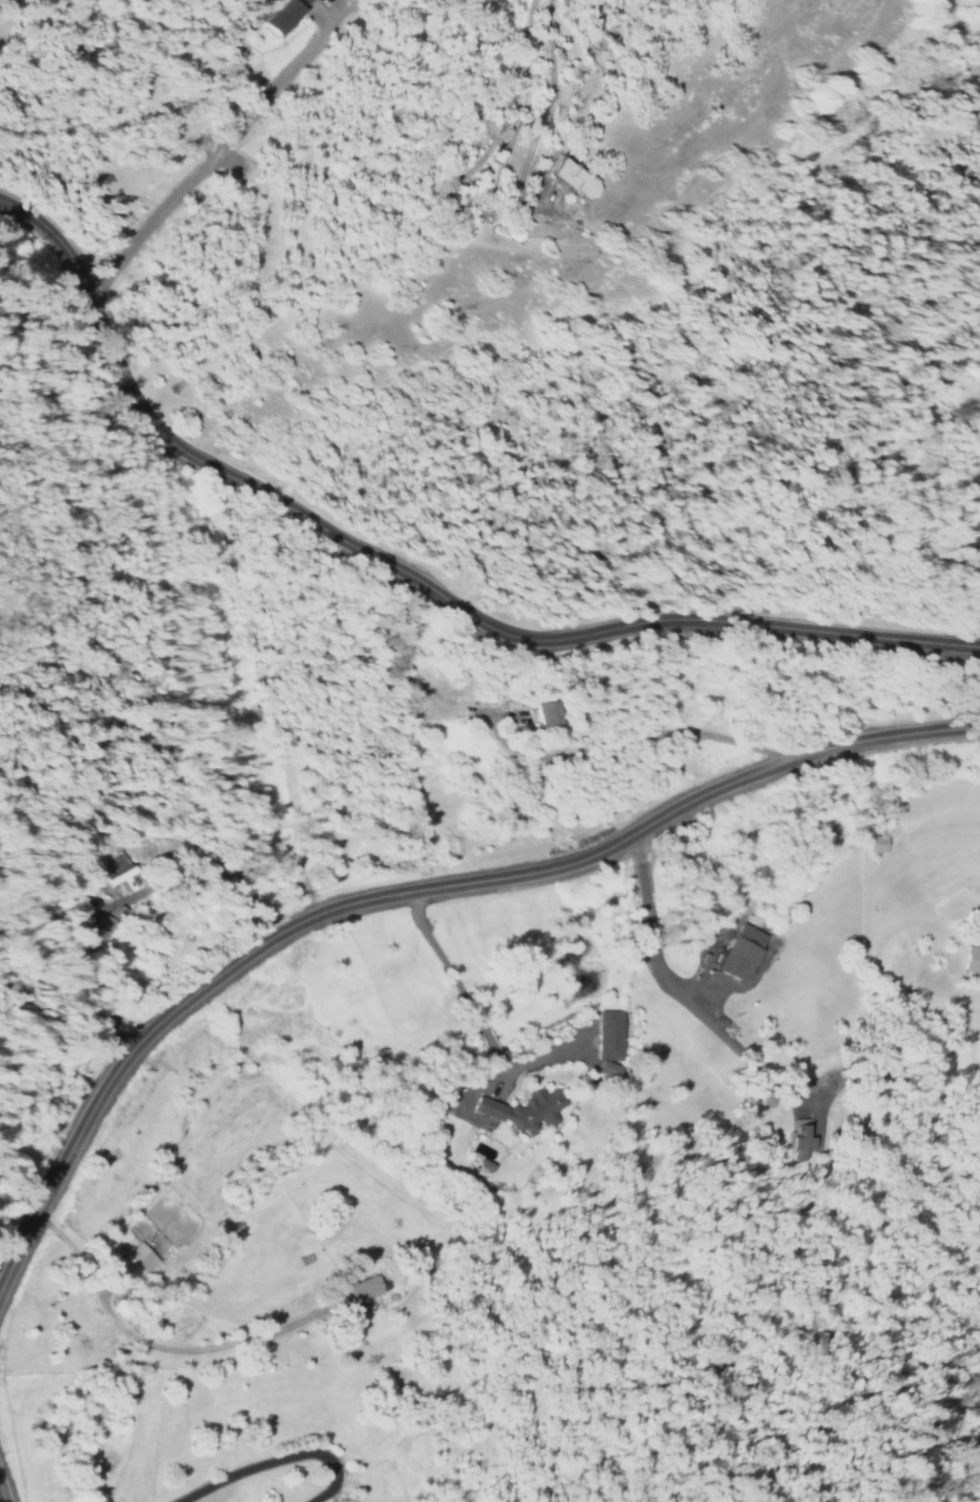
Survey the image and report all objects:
building: (283, 14)
road: (226, 147)
building: (581, 177)
road: (418, 575)
building: (543, 714)
building: (876, 843)
building: (117, 875)
road: (408, 889)
building: (97, 929)
building: (741, 952)
building: (971, 959)
building: (607, 1043)
building: (523, 1111)
building: (799, 1142)
building: (134, 1263)
building: (362, 1289)
road: (0, 1499)

